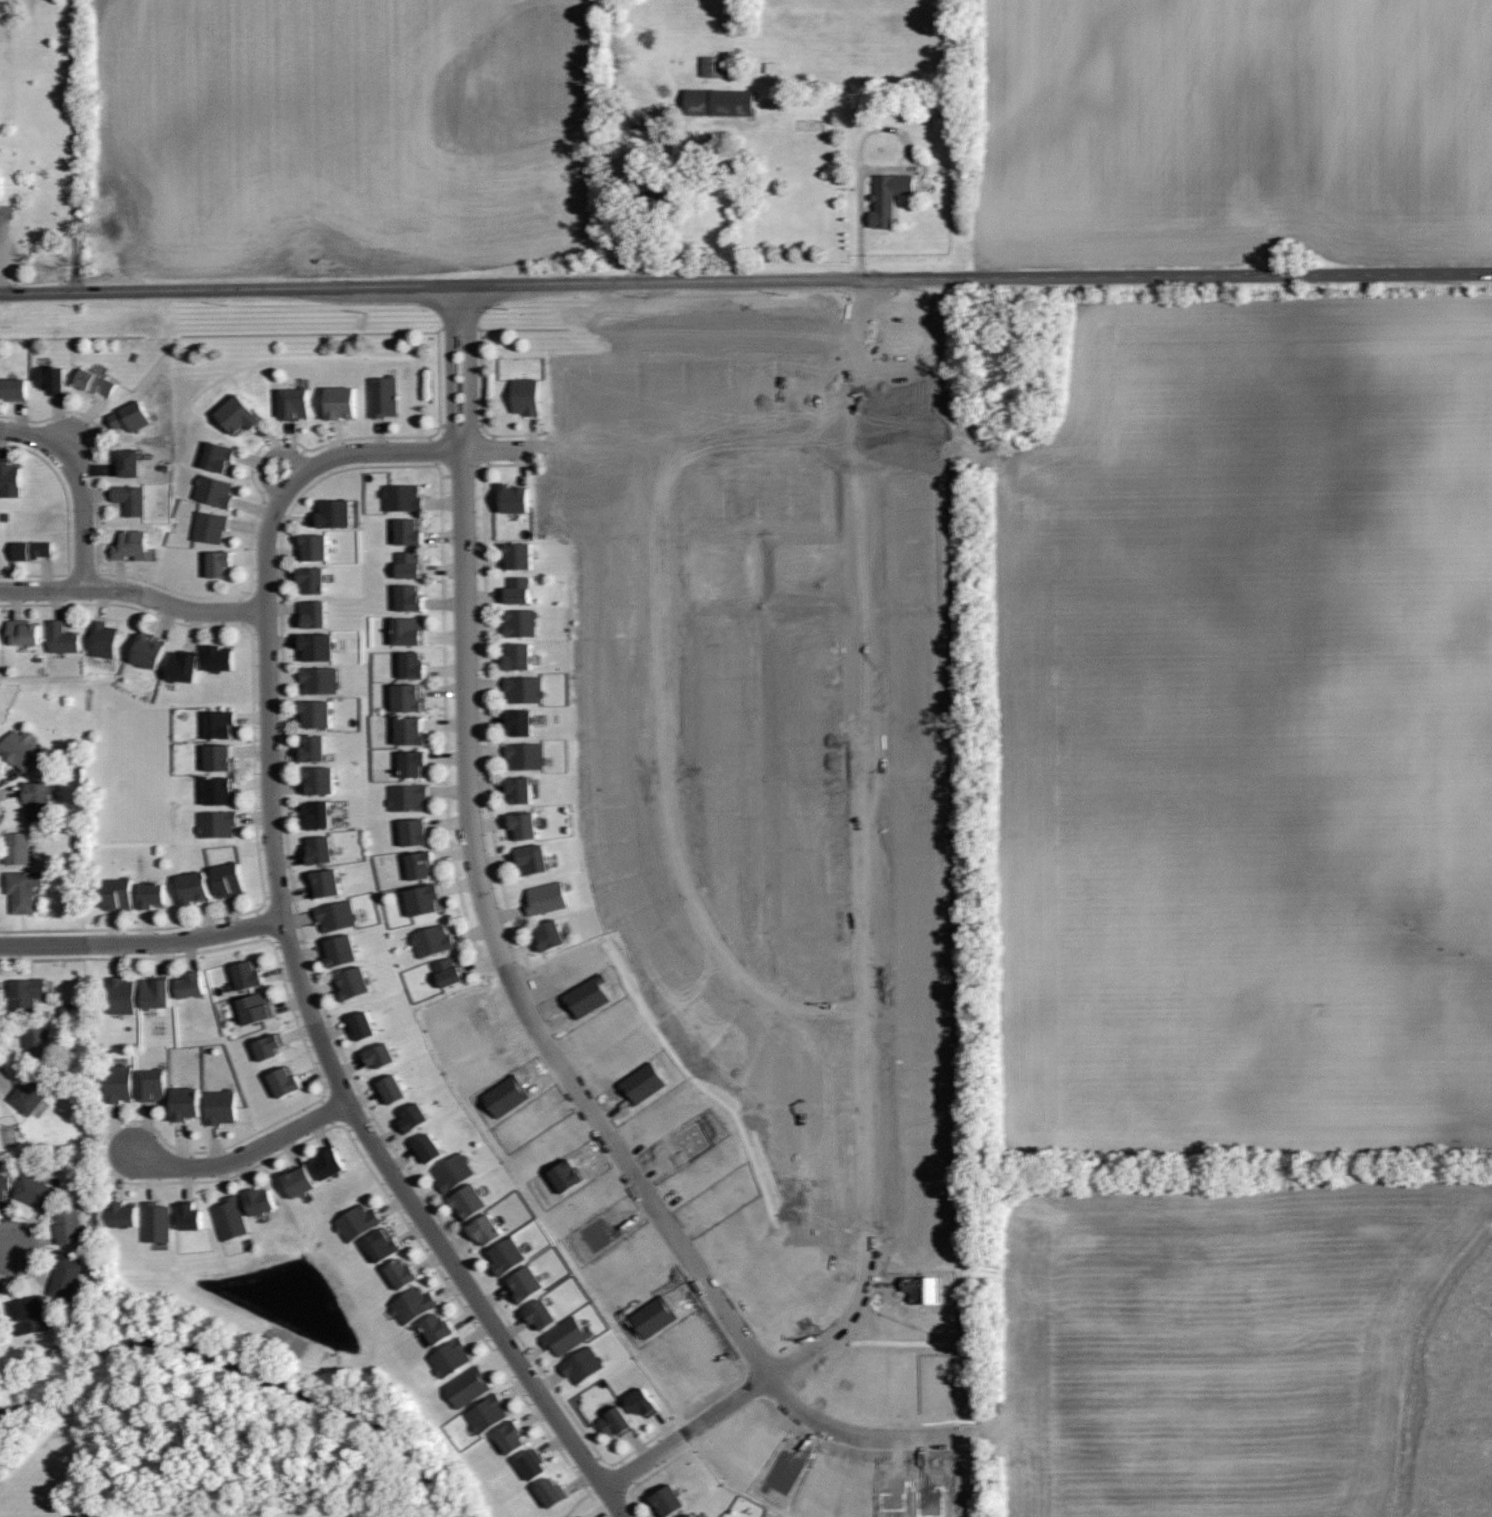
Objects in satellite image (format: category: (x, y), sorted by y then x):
building: (717, 67)
building: (726, 101)
crop: (1234, 129)
crop: (344, 131)
road: (74, 146)
building: (647, 188)
building: (887, 197)
road: (745, 281)
building: (51, 379)
building: (94, 381)
building: (14, 387)
building: (384, 396)
building: (525, 396)
building: (342, 402)
building: (292, 403)
building: (236, 414)
building: (130, 416)
road: (852, 443)
road: (558, 449)
building: (217, 456)
road: (269, 457)
building: (129, 462)
building: (9, 480)
road: (78, 485)
building: (214, 491)
building: (400, 497)
building: (130, 499)
building: (513, 499)
building: (336, 513)
building: (208, 526)
building: (408, 531)
building: (130, 544)
building: (316, 546)
building: (30, 549)
building: (517, 555)
building: (220, 562)
building: (409, 564)
building: (313, 579)
road: (41, 589)
building: (517, 589)
building: (410, 598)
road: (173, 607)
building: (313, 613)
building: (519, 622)
road: (465, 626)
building: (407, 630)
building: (22, 631)
building: (62, 637)
building: (103, 640)
building: (0, 644)
building: (318, 646)
building: (148, 650)
building: (520, 656)
building: (220, 657)
building: (183, 664)
building: (410, 664)
building: (318, 679)
building: (523, 688)
building: (408, 697)
building: (317, 713)
building: (518, 721)
building: (221, 725)
crop: (1251, 730)
building: (410, 731)
building: (315, 747)
building: (20, 748)
building: (526, 756)
building: (221, 758)
building: (413, 762)
building: (320, 780)
building: (518, 788)
road: (668, 788)
building: (220, 790)
building: (409, 797)
building: (36, 799)
building: (317, 813)
building: (217, 823)
building: (523, 824)
building: (412, 833)
building: (17, 847)
building: (322, 850)
building: (531, 858)
building: (422, 864)
building: (229, 879)
building: (327, 882)
building: (195, 886)
building: (22, 888)
building: (118, 894)
building: (152, 895)
building: (545, 897)
building: (423, 899)
building: (337, 915)
road: (864, 933)
building: (549, 935)
building: (431, 940)
road: (142, 944)
building: (340, 949)
building: (449, 971)
building: (248, 975)
building: (354, 982)
building: (191, 985)
building: (157, 992)
building: (25, 994)
building: (122, 996)
building: (258, 1007)
building: (361, 1025)
building: (36, 1043)
building: (269, 1045)
building: (380, 1054)
building: (286, 1082)
building: (119, 1083)
building: (151, 1085)
building: (391, 1086)
building: (30, 1094)
road: (343, 1101)
building: (187, 1103)
building: (219, 1106)
building: (0, 1113)
building: (412, 1118)
building: (691, 1142)
building: (426, 1148)
road: (240, 1158)
building: (331, 1163)
building: (454, 1172)
building: (298, 1182)
building: (4, 1184)
building: (35, 1192)
building: (262, 1201)
building: (471, 1201)
road: (659, 1210)
building: (124, 1214)
building: (190, 1216)
building: (231, 1218)
building: (157, 1221)
building: (358, 1222)
building: (67, 1225)
building: (487, 1229)
building: (604, 1232)
building: (382, 1244)
road: (6, 1247)
building: (509, 1254)
building: (402, 1272)
building: (65, 1276)
building: (527, 1281)
building: (413, 1302)
building: (542, 1312)
building: (26, 1313)
building: (659, 1316)
building: (440, 1328)
building: (568, 1334)
crop: (1248, 1353)
building: (451, 1356)
building: (584, 1364)
building: (671, 1379)
building: (470, 1387)
building: (641, 1404)
building: (488, 1411)
building: (617, 1421)
road: (853, 1432)
building: (511, 1435)
road: (644, 1461)
building: (531, 1465)
building: (551, 1490)
building: (669, 1500)
building: (690, 1515)
building: (694, 1515)
crop: (355, 1516)
building: (580, 1516)
building: (584, 1516)

